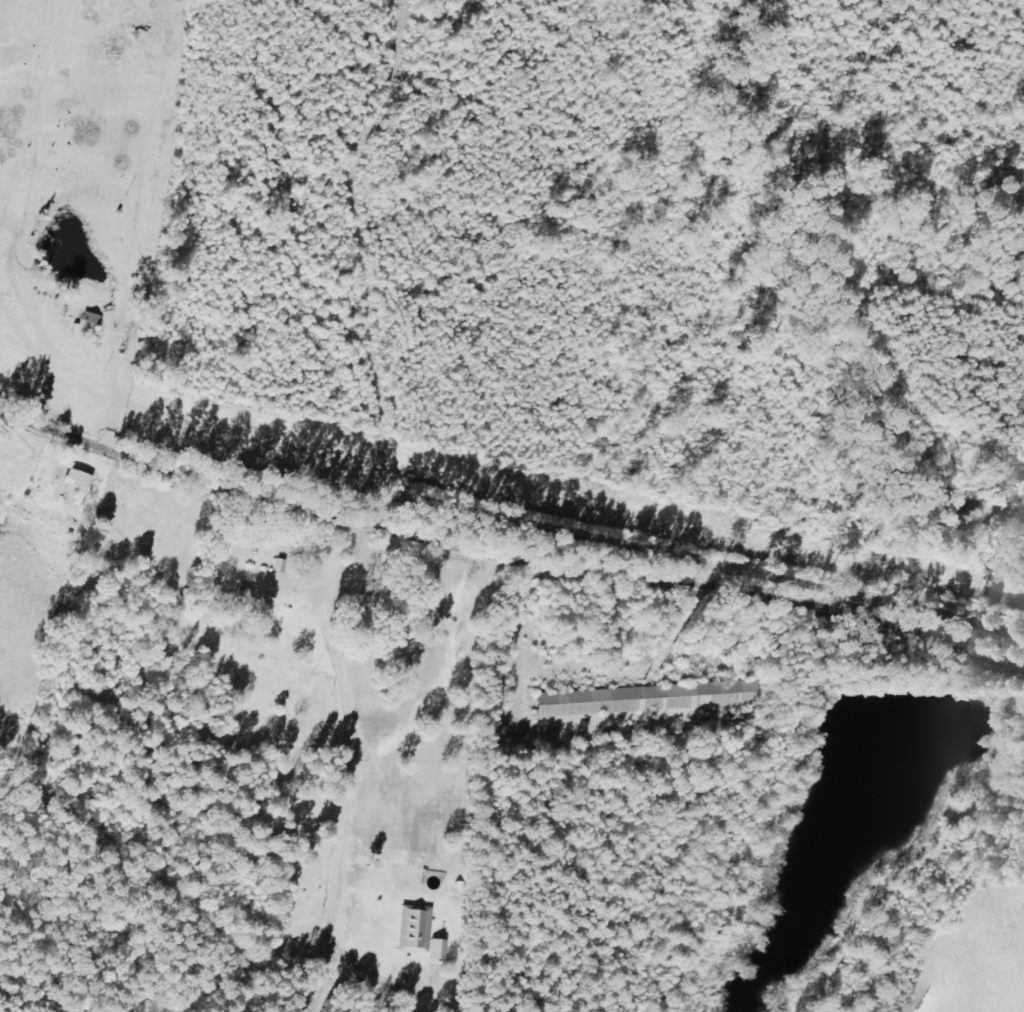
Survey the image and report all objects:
road: (365, 267)
road: (508, 579)
building: (653, 699)
road: (887, 834)
building: (421, 930)
building: (444, 950)

